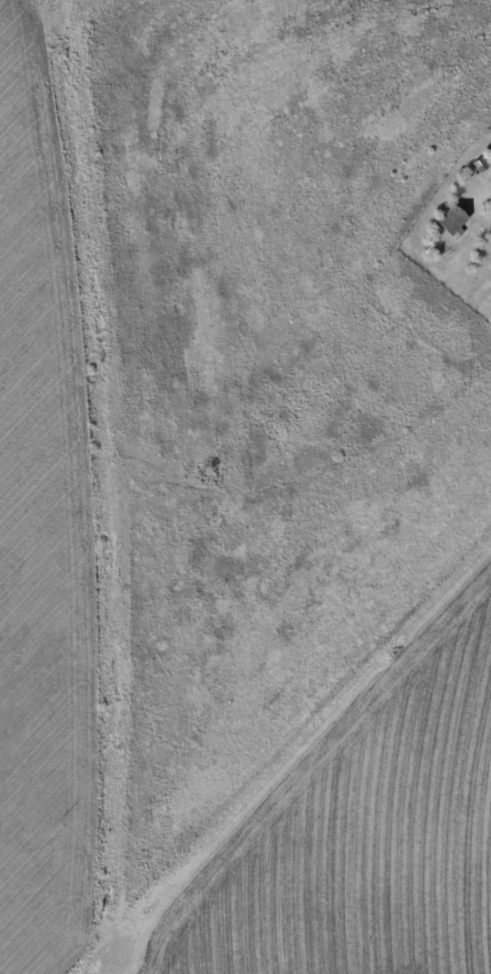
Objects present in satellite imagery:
building: (483, 165)
building: (466, 180)
building: (454, 223)
building: (484, 255)

